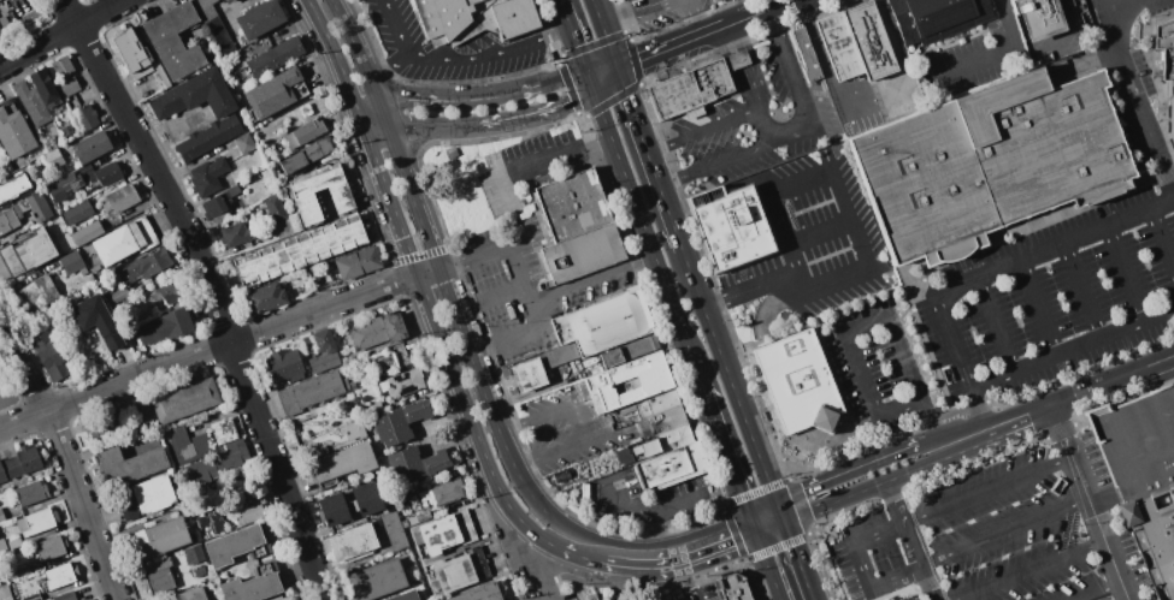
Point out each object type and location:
building: (712, 0)
building: (714, 0)
building: (229, 1)
road: (761, 12)
road: (566, 13)
road: (598, 14)
road: (643, 14)
building: (934, 17)
building: (260, 18)
building: (474, 18)
road: (696, 18)
building: (1039, 18)
road: (1039, 18)
road: (773, 20)
road: (1009, 22)
building: (214, 25)
building: (0, 31)
road: (60, 32)
road: (557, 32)
building: (0, 34)
road: (735, 37)
building: (868, 40)
building: (175, 41)
road: (1048, 41)
road: (892, 42)
building: (838, 46)
building: (1167, 46)
building: (255, 47)
road: (674, 47)
road: (579, 48)
road: (612, 49)
building: (804, 53)
building: (132, 54)
parking lot: (977, 57)
road: (742, 58)
building: (270, 59)
road: (821, 59)
road: (448, 61)
road: (973, 61)
road: (1087, 64)
building: (63, 66)
road: (388, 70)
traffic signals: (588, 71)
road: (603, 71)
traffic signals: (620, 71)
building: (163, 76)
parking lot: (1133, 77)
road: (1158, 78)
road: (591, 81)
road: (608, 81)
road: (542, 83)
building: (45, 87)
building: (694, 87)
road: (751, 87)
building: (67, 88)
traffic signals: (596, 91)
road: (896, 91)
building: (275, 93)
parking lot: (897, 93)
road: (1137, 93)
building: (195, 95)
road: (437, 101)
road: (803, 101)
building: (31, 102)
building: (1172, 109)
road: (536, 111)
parking lot: (856, 111)
road: (604, 113)
road: (371, 114)
building: (85, 118)
road: (430, 123)
parking lot: (760, 123)
road: (374, 124)
road: (719, 124)
road: (763, 125)
building: (14, 130)
building: (308, 131)
road: (366, 133)
building: (207, 138)
road: (597, 142)
building: (244, 143)
road: (663, 145)
building: (92, 147)
building: (307, 155)
road: (732, 158)
building: (51, 160)
road: (651, 160)
building: (989, 162)
road: (834, 165)
road: (523, 170)
building: (99, 174)
road: (1164, 174)
building: (208, 176)
road: (677, 178)
building: (64, 185)
building: (13, 189)
building: (234, 190)
building: (303, 194)
building: (120, 198)
building: (216, 204)
building: (240, 207)
building: (275, 208)
building: (77, 212)
building: (11, 213)
building: (295, 221)
building: (730, 226)
building: (283, 227)
building: (577, 228)
building: (87, 232)
building: (237, 234)
road: (821, 234)
parking lot: (812, 237)
road: (1163, 237)
building: (123, 240)
building: (300, 250)
building: (29, 251)
road: (971, 253)
road: (656, 257)
building: (71, 261)
road: (644, 261)
building: (358, 262)
road: (452, 265)
building: (144, 266)
road: (975, 267)
building: (95, 268)
building: (82, 271)
road: (426, 272)
road: (437, 273)
road: (1128, 274)
road: (952, 275)
road: (991, 275)
road: (524, 285)
road: (582, 285)
road: (762, 287)
road: (211, 291)
road: (1085, 291)
building: (37, 292)
building: (111, 292)
building: (167, 293)
building: (264, 297)
parking lot: (1055, 301)
road: (716, 303)
road: (1042, 308)
building: (95, 320)
building: (603, 322)
building: (165, 326)
road: (998, 326)
building: (377, 331)
road: (849, 333)
road: (482, 347)
road: (1074, 347)
road: (207, 349)
building: (324, 351)
building: (630, 351)
building: (561, 354)
building: (49, 355)
building: (284, 366)
parking lot: (877, 368)
building: (527, 375)
road: (1081, 379)
road: (733, 381)
building: (402, 382)
building: (627, 382)
building: (800, 382)
building: (311, 392)
road: (1085, 399)
building: (184, 400)
building: (656, 403)
road: (1057, 403)
road: (978, 405)
road: (1125, 405)
road: (568, 409)
building: (626, 409)
road: (951, 414)
building: (142, 415)
building: (661, 421)
building: (400, 422)
road: (472, 422)
road: (932, 423)
road: (927, 424)
building: (105, 428)
road: (513, 428)
building: (353, 429)
road: (1061, 430)
building: (673, 438)
building: (1143, 442)
road: (577, 445)
road: (910, 446)
building: (647, 447)
building: (207, 451)
road: (728, 453)
road: (856, 453)
building: (624, 456)
road: (65, 459)
building: (19, 463)
building: (414, 463)
road: (525, 463)
building: (129, 464)
building: (342, 464)
building: (672, 465)
road: (918, 470)
building: (561, 475)
road: (928, 481)
road: (828, 482)
building: (30, 492)
building: (443, 492)
road: (990, 492)
building: (144, 497)
building: (241, 498)
building: (366, 498)
road: (1091, 501)
road: (627, 504)
road: (836, 504)
road: (722, 506)
road: (1128, 509)
building: (332, 510)
road: (655, 510)
road: (1137, 510)
building: (249, 513)
traffic signals: (783, 515)
building: (1, 516)
building: (423, 516)
road: (769, 521)
building: (36, 522)
building: (409, 522)
traffic signals: (756, 527)
building: (395, 530)
parking lot: (1033, 530)
building: (444, 531)
road: (1005, 533)
building: (163, 536)
road: (719, 541)
road: (912, 541)
building: (353, 542)
building: (2, 546)
building: (237, 546)
road: (585, 546)
building: (1161, 547)
building: (49, 548)
building: (194, 554)
road: (797, 557)
road: (644, 558)
parking lot: (871, 558)
building: (406, 560)
road: (769, 563)
road: (547, 568)
road: (866, 568)
building: (200, 571)
building: (459, 571)
road: (1036, 571)
building: (20, 572)
building: (60, 575)
building: (159, 576)
road: (689, 577)
building: (377, 580)
building: (255, 584)
building: (733, 587)
road: (1104, 592)
building: (5, 593)
building: (479, 593)
parking lot: (698, 593)
building: (191, 594)
building: (33, 596)
building: (65, 596)
building: (405, 596)
building: (592, 596)
building: (287, 598)
building: (657, 598)
building: (87, 599)
building: (88, 599)
building: (612, 599)

